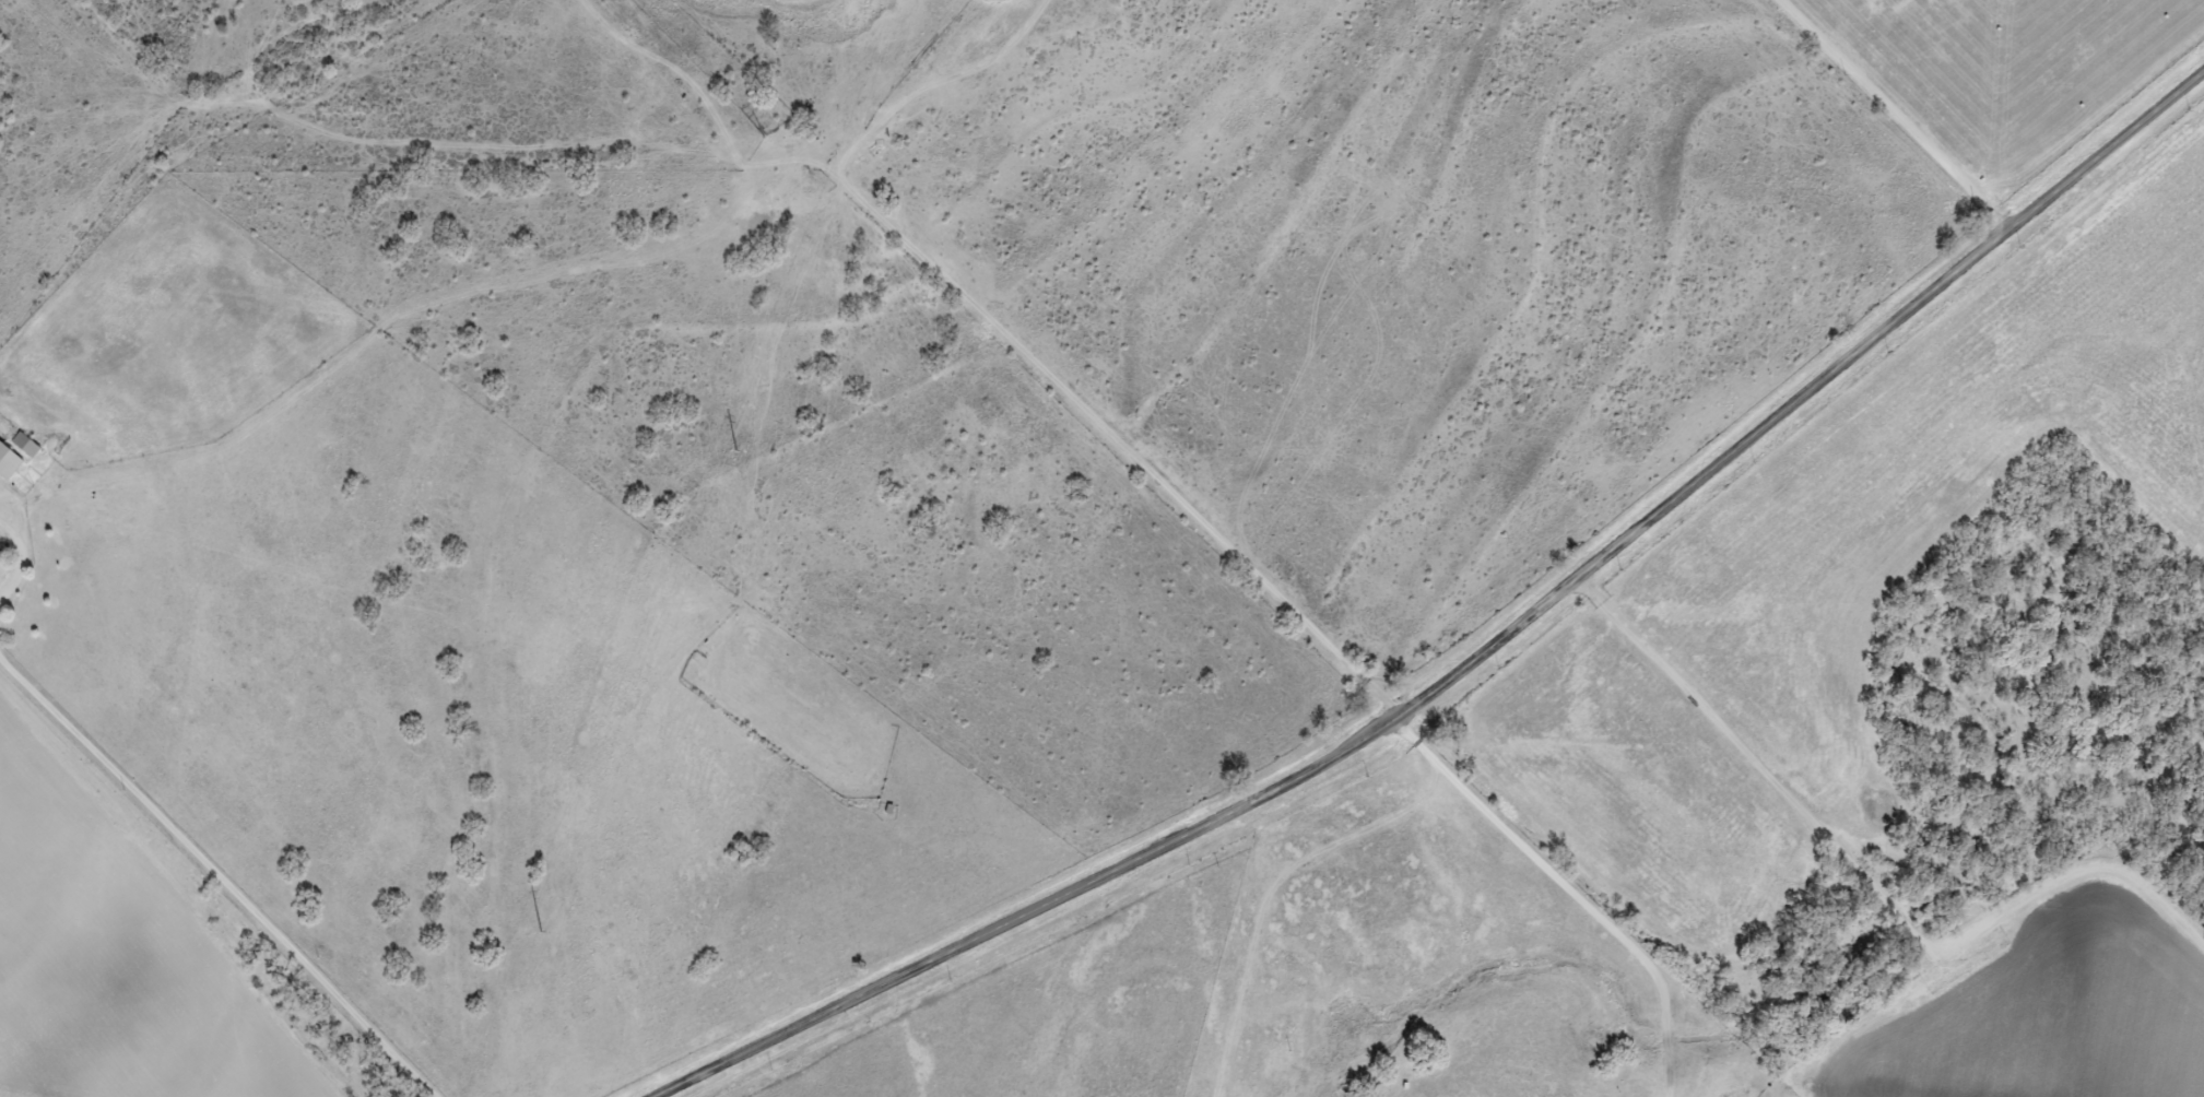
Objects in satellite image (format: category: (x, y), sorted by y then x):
road: (1889, 114)
road: (1028, 361)
building: (27, 445)
building: (9, 462)
road: (1476, 657)
road: (1864, 874)
road: (209, 881)

